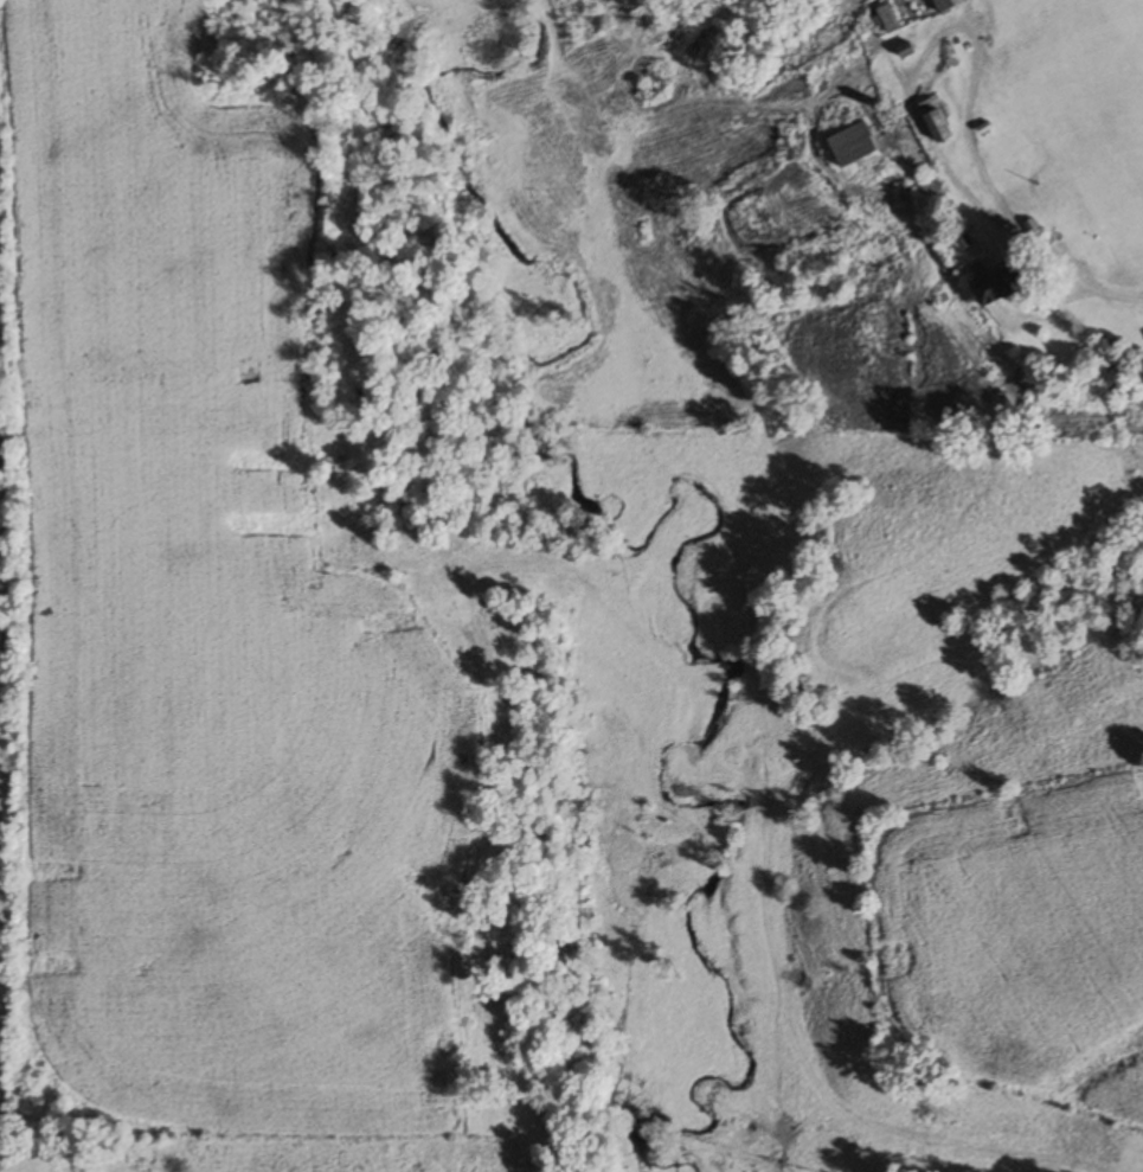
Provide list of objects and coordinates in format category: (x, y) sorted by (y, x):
building: (948, 4)
building: (888, 19)
building: (939, 127)
building: (853, 145)
building: (930, 187)
building: (1001, 287)
road: (1116, 297)

